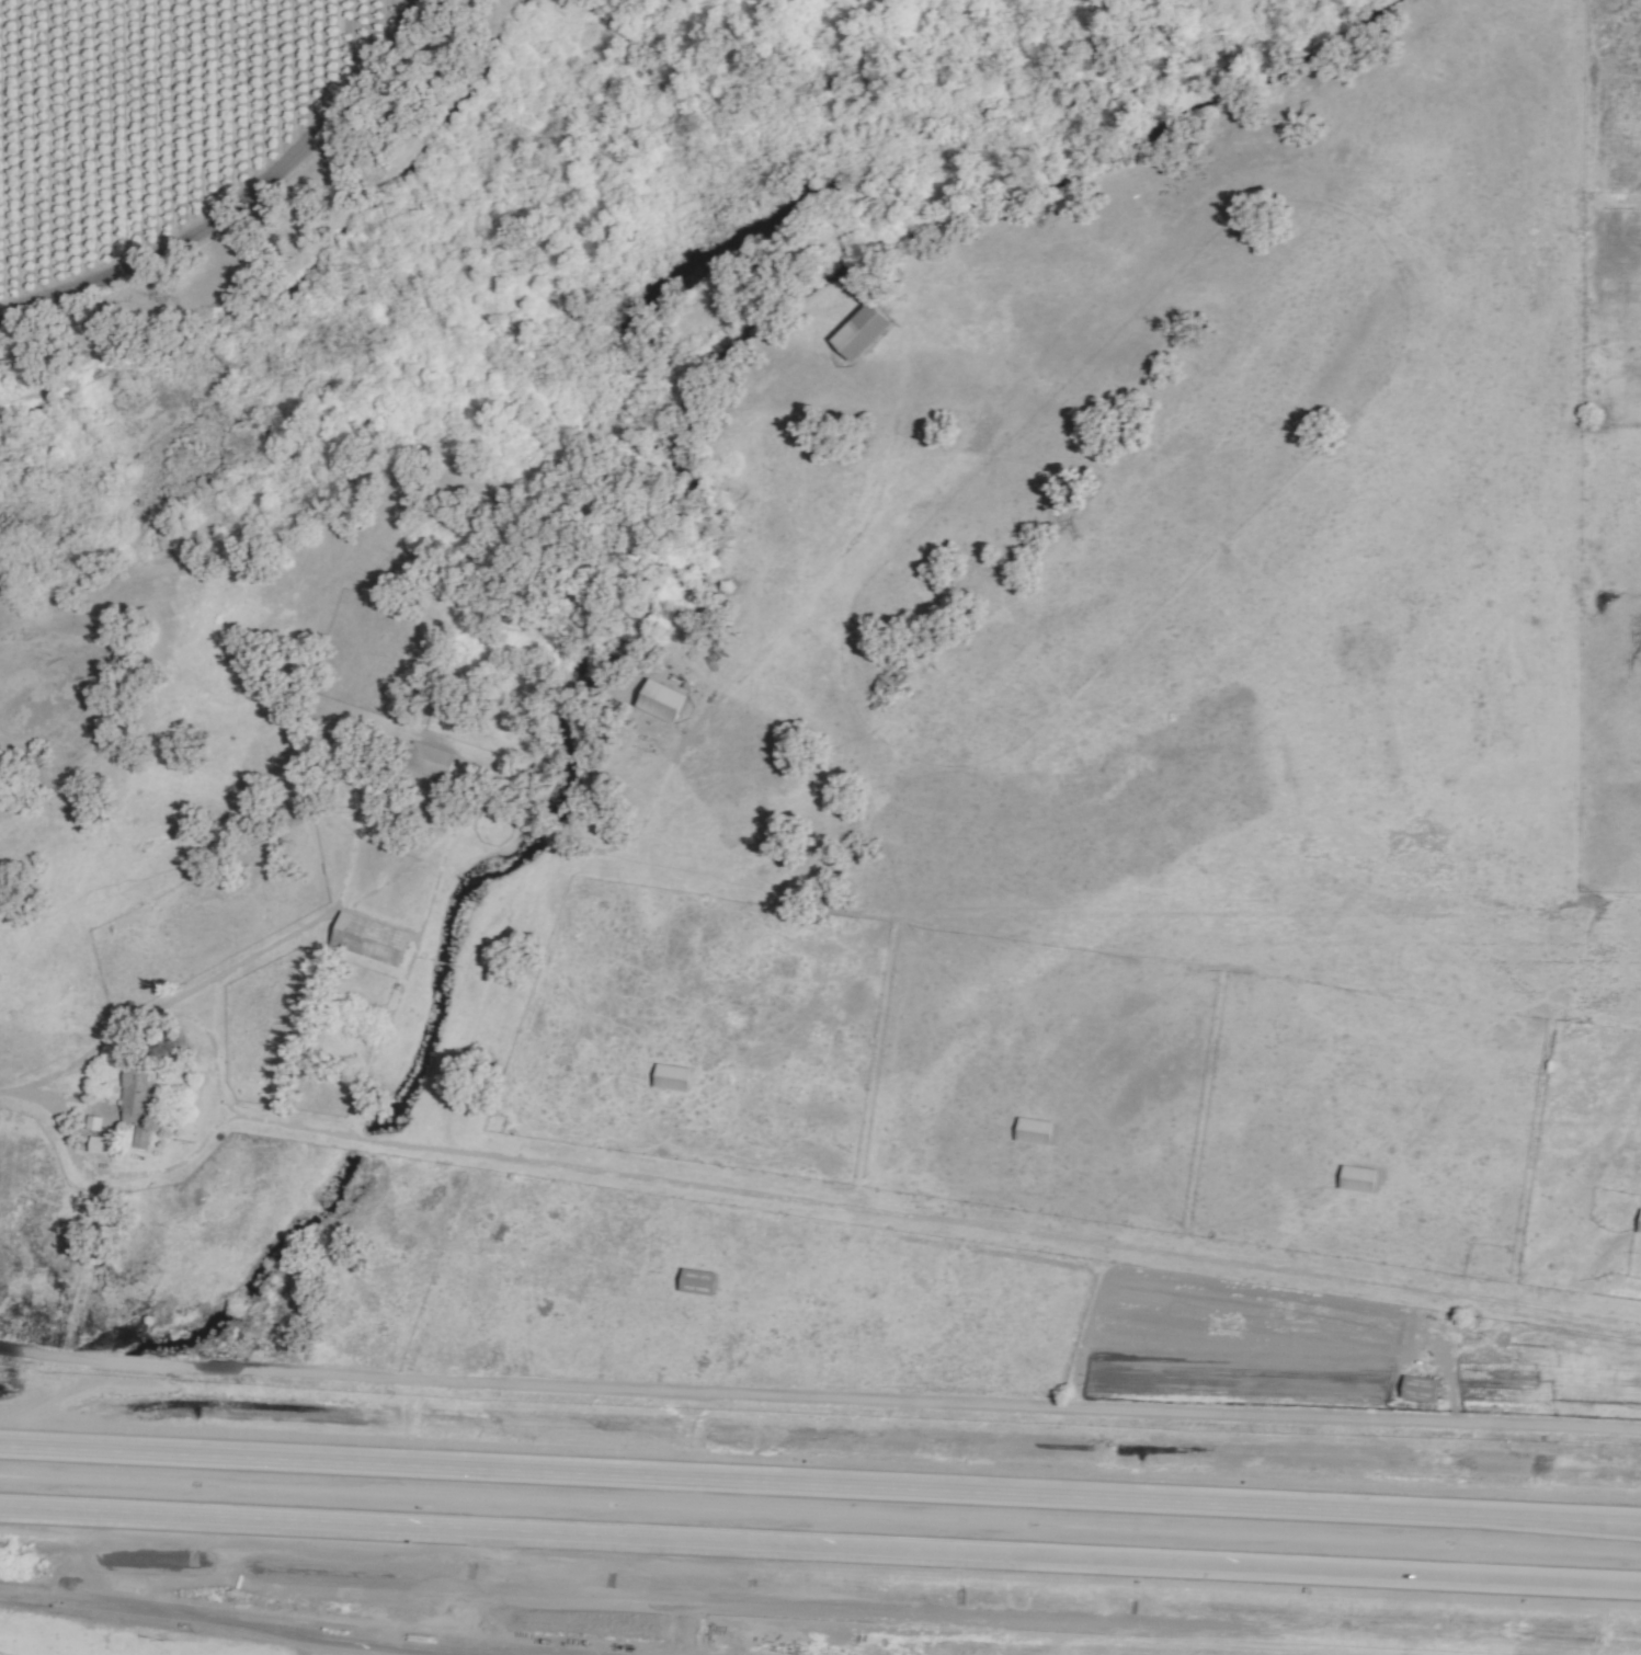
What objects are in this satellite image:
road: (241, 198)
building: (855, 331)
crop: (1155, 458)
crop: (1614, 660)
building: (656, 700)
building: (426, 761)
building: (365, 938)
building: (668, 1077)
road: (27, 1092)
building: (138, 1092)
building: (1029, 1131)
building: (103, 1145)
crop: (355, 1165)
crop: (1187, 1174)
building: (1354, 1179)
building: (1638, 1223)
building: (693, 1282)
building: (1415, 1390)
road: (820, 1396)
road: (820, 1483)
road: (820, 1545)
road: (274, 1622)

